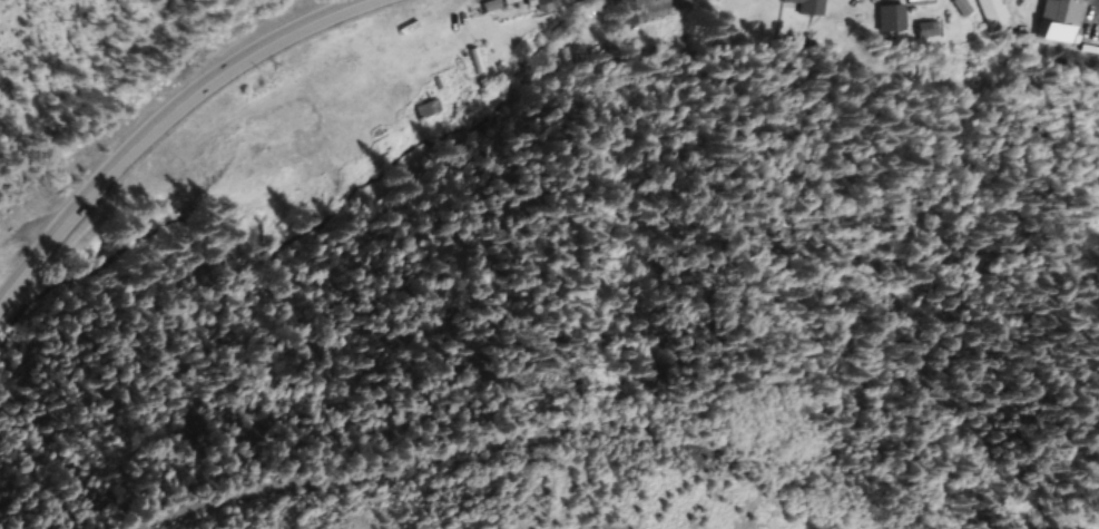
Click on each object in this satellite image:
building: (511, 1)
building: (683, 2)
building: (920, 2)
building: (547, 4)
building: (809, 7)
building: (644, 9)
building: (994, 14)
building: (891, 19)
building: (1064, 21)
building: (926, 30)
building: (429, 109)
road: (166, 121)

